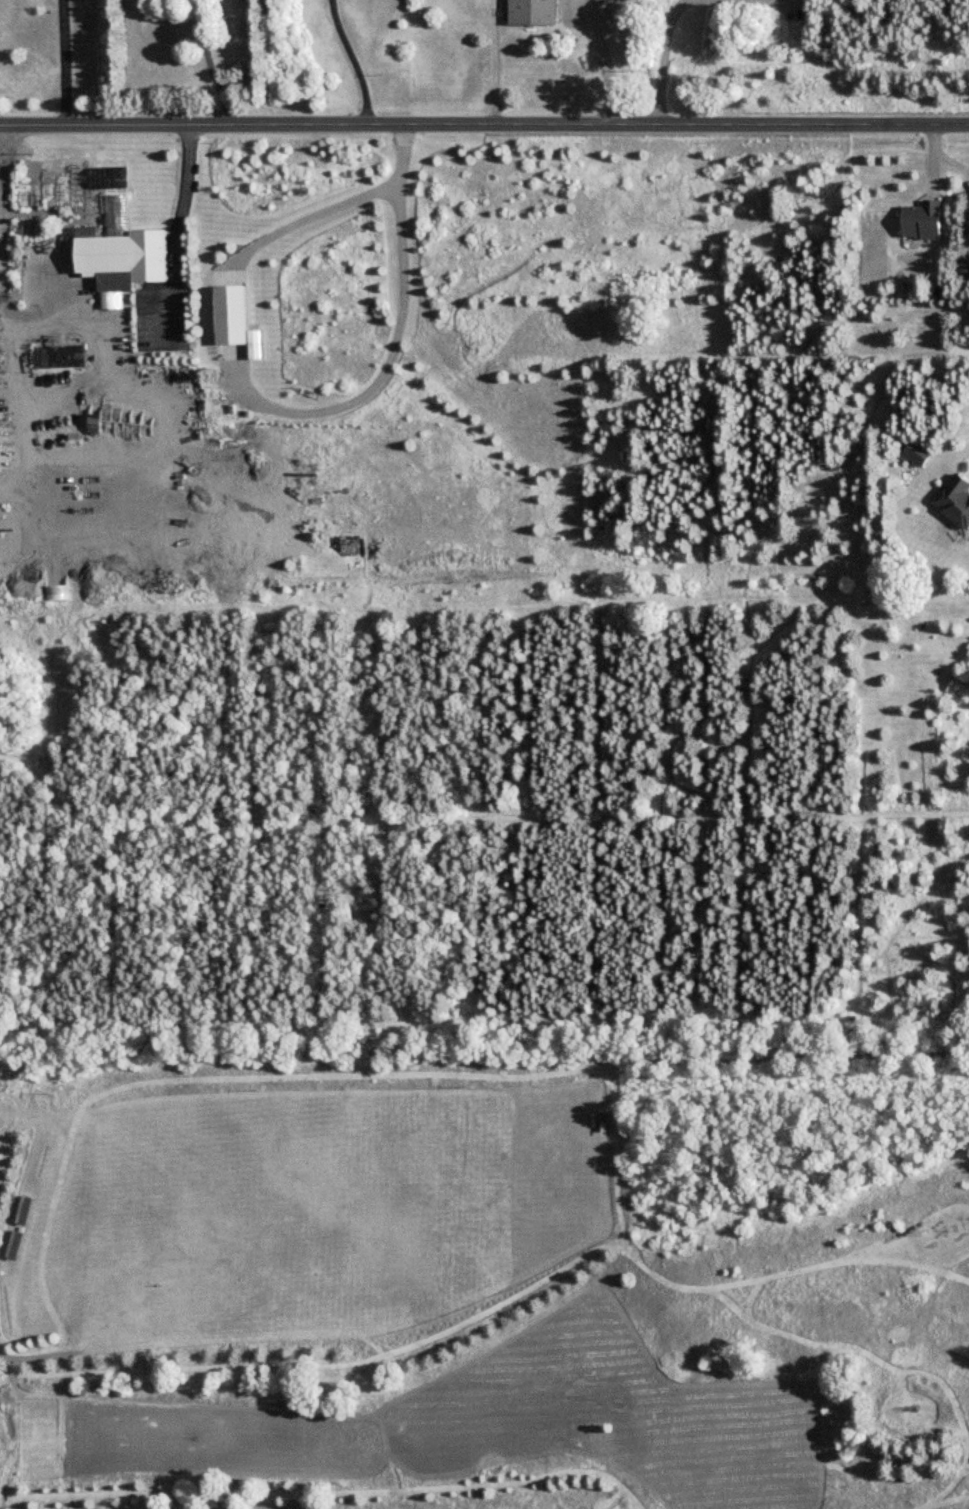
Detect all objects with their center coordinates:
building: (533, 11)
park: (53, 55)
road: (664, 61)
road: (353, 62)
road: (492, 63)
road: (209, 64)
road: (602, 67)
road: (484, 127)
road: (338, 208)
building: (923, 219)
road: (190, 241)
building: (125, 257)
road: (3, 263)
building: (962, 268)
road: (385, 374)
road: (21, 409)
building: (919, 451)
building: (956, 498)
park: (583, 1388)

